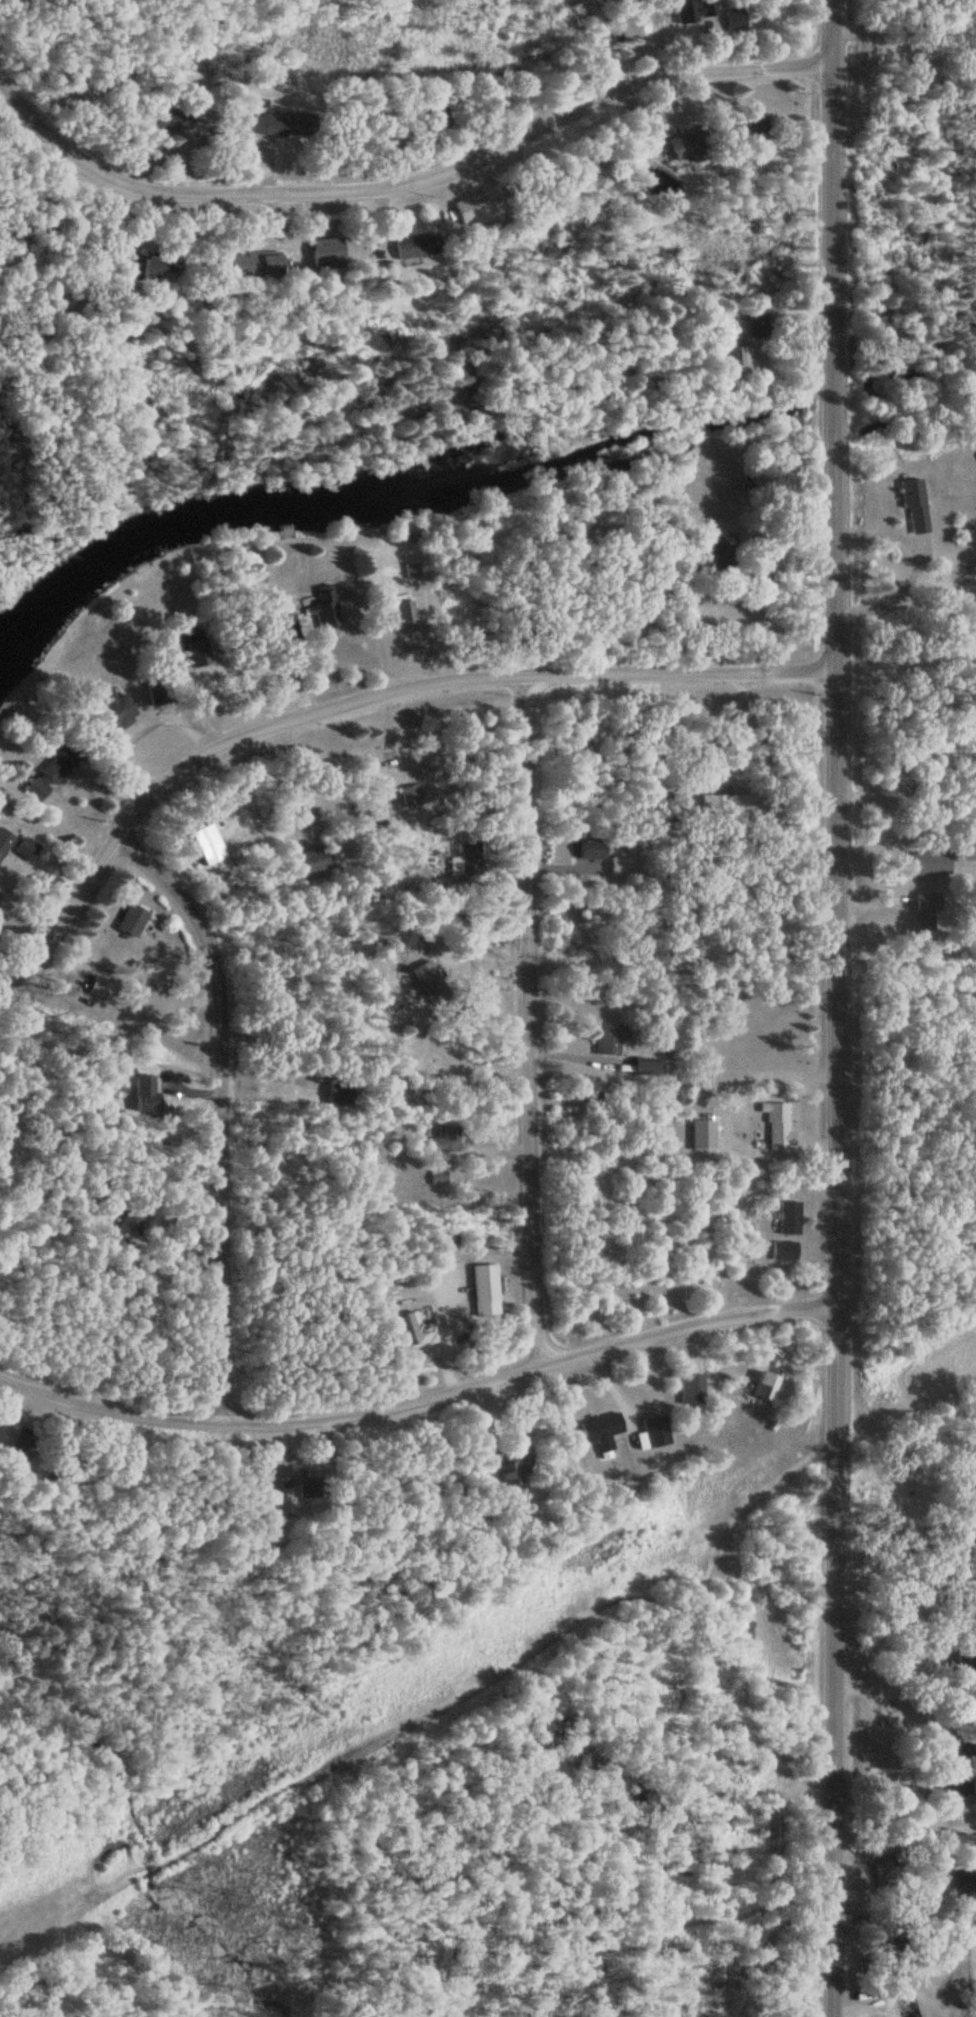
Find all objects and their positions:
building: (731, 20)
building: (282, 123)
building: (689, 146)
road: (402, 186)
building: (416, 246)
building: (157, 270)
building: (754, 330)
building: (917, 506)
building: (291, 628)
road: (345, 702)
building: (112, 712)
building: (54, 772)
building: (412, 794)
building: (725, 806)
building: (5, 841)
building: (592, 849)
building: (26, 850)
building: (315, 860)
building: (933, 862)
building: (928, 909)
building: (133, 922)
building: (426, 974)
road: (834, 1008)
road: (532, 1022)
building: (612, 1039)
building: (649, 1067)
building: (153, 1084)
building: (336, 1091)
road: (225, 1109)
building: (781, 1134)
building: (446, 1139)
building: (790, 1218)
building: (130, 1219)
building: (785, 1252)
building: (486, 1283)
building: (422, 1326)
building: (767, 1386)
building: (692, 1390)
road: (424, 1401)
building: (596, 1431)
building: (652, 1432)
building: (973, 1460)
building: (522, 1472)
building: (281, 1479)
road: (905, 1691)
road: (440, 1711)
building: (888, 1873)
road: (904, 1915)
building: (898, 1951)

